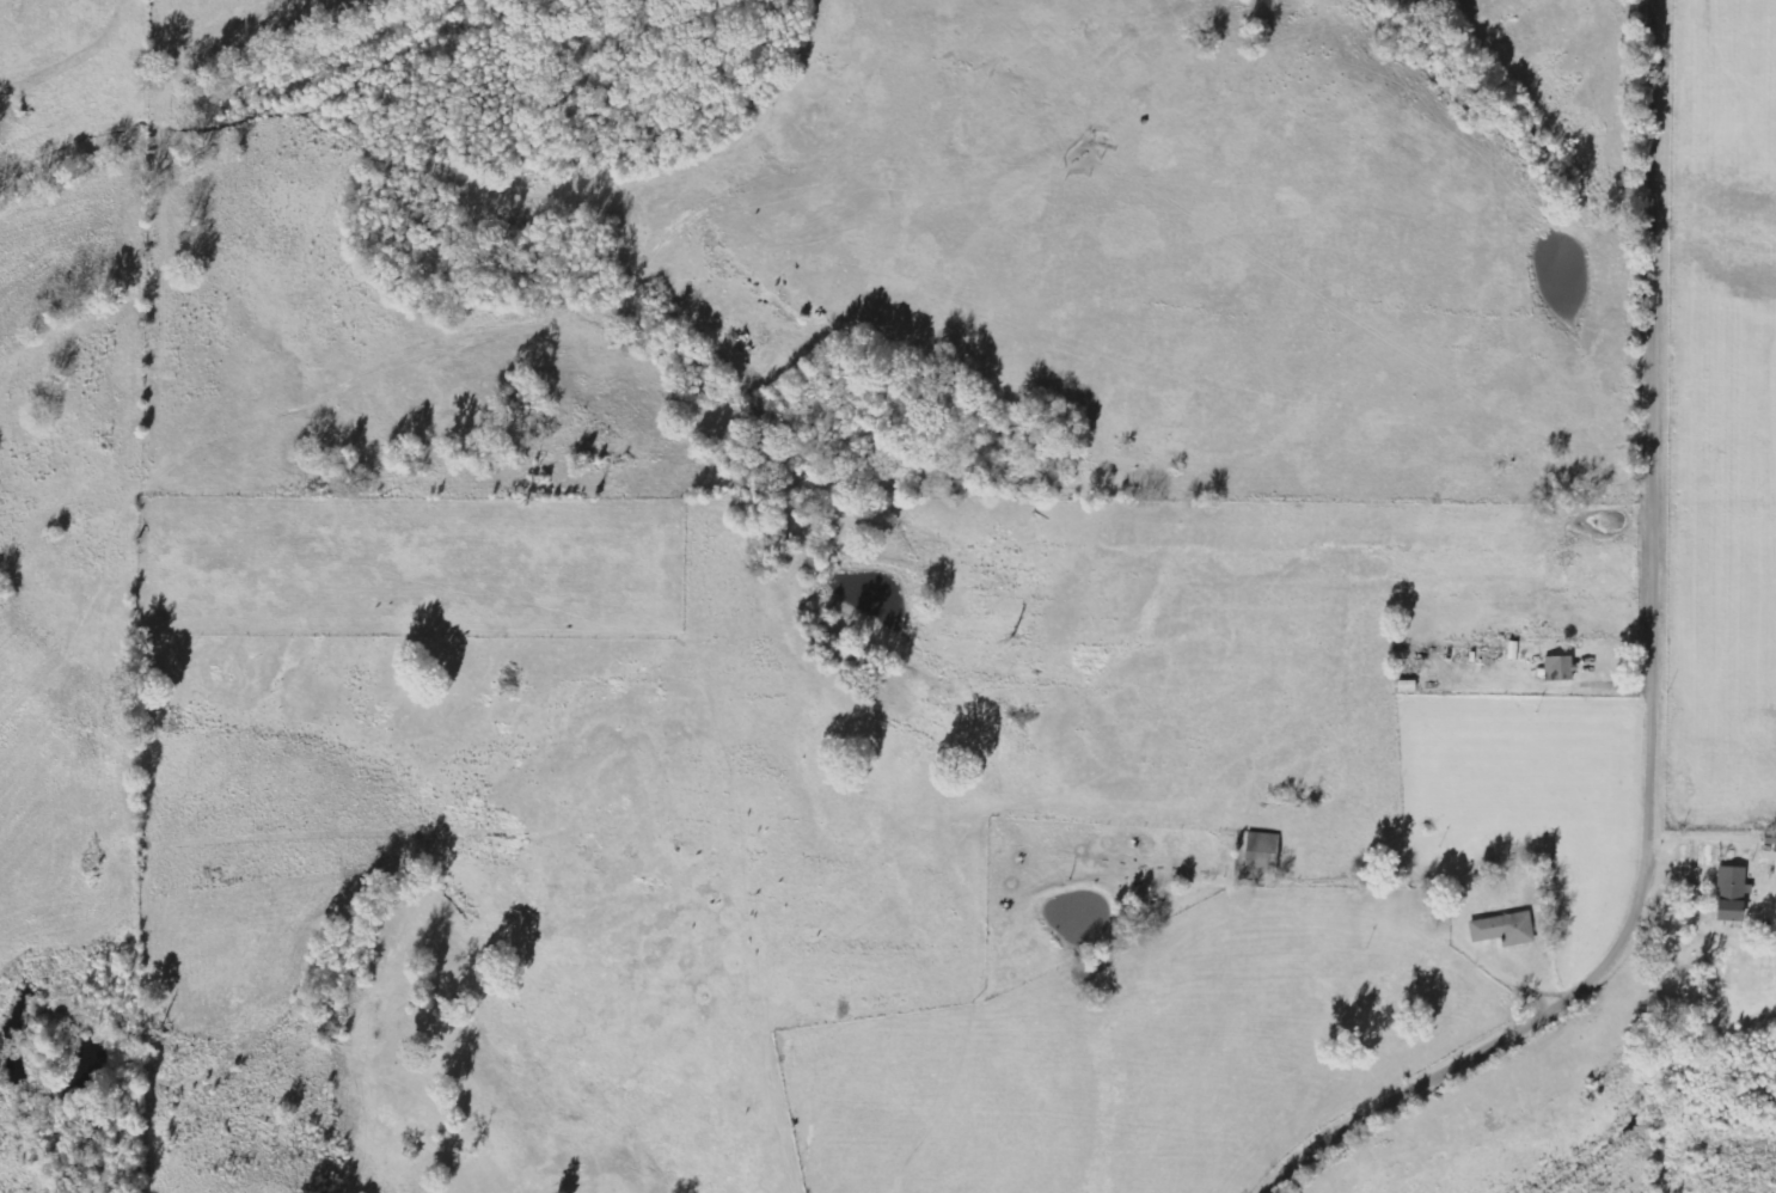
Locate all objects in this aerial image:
building: (1556, 669)
road: (1660, 690)
building: (1261, 851)
building: (1727, 893)
building: (1501, 930)

